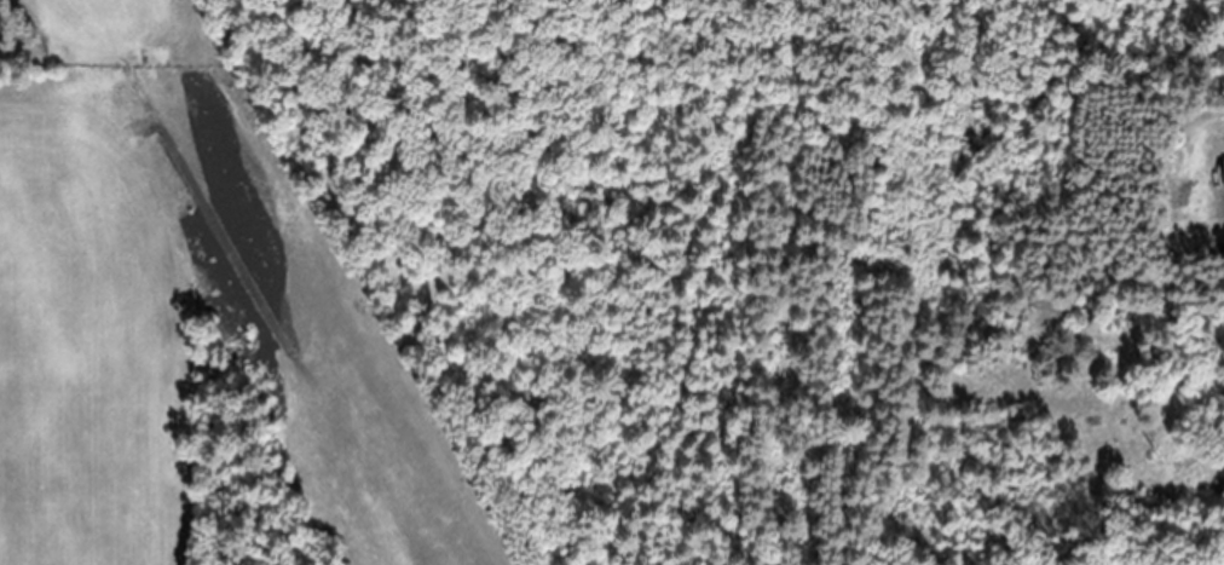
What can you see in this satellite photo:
building: (1219, 171)

